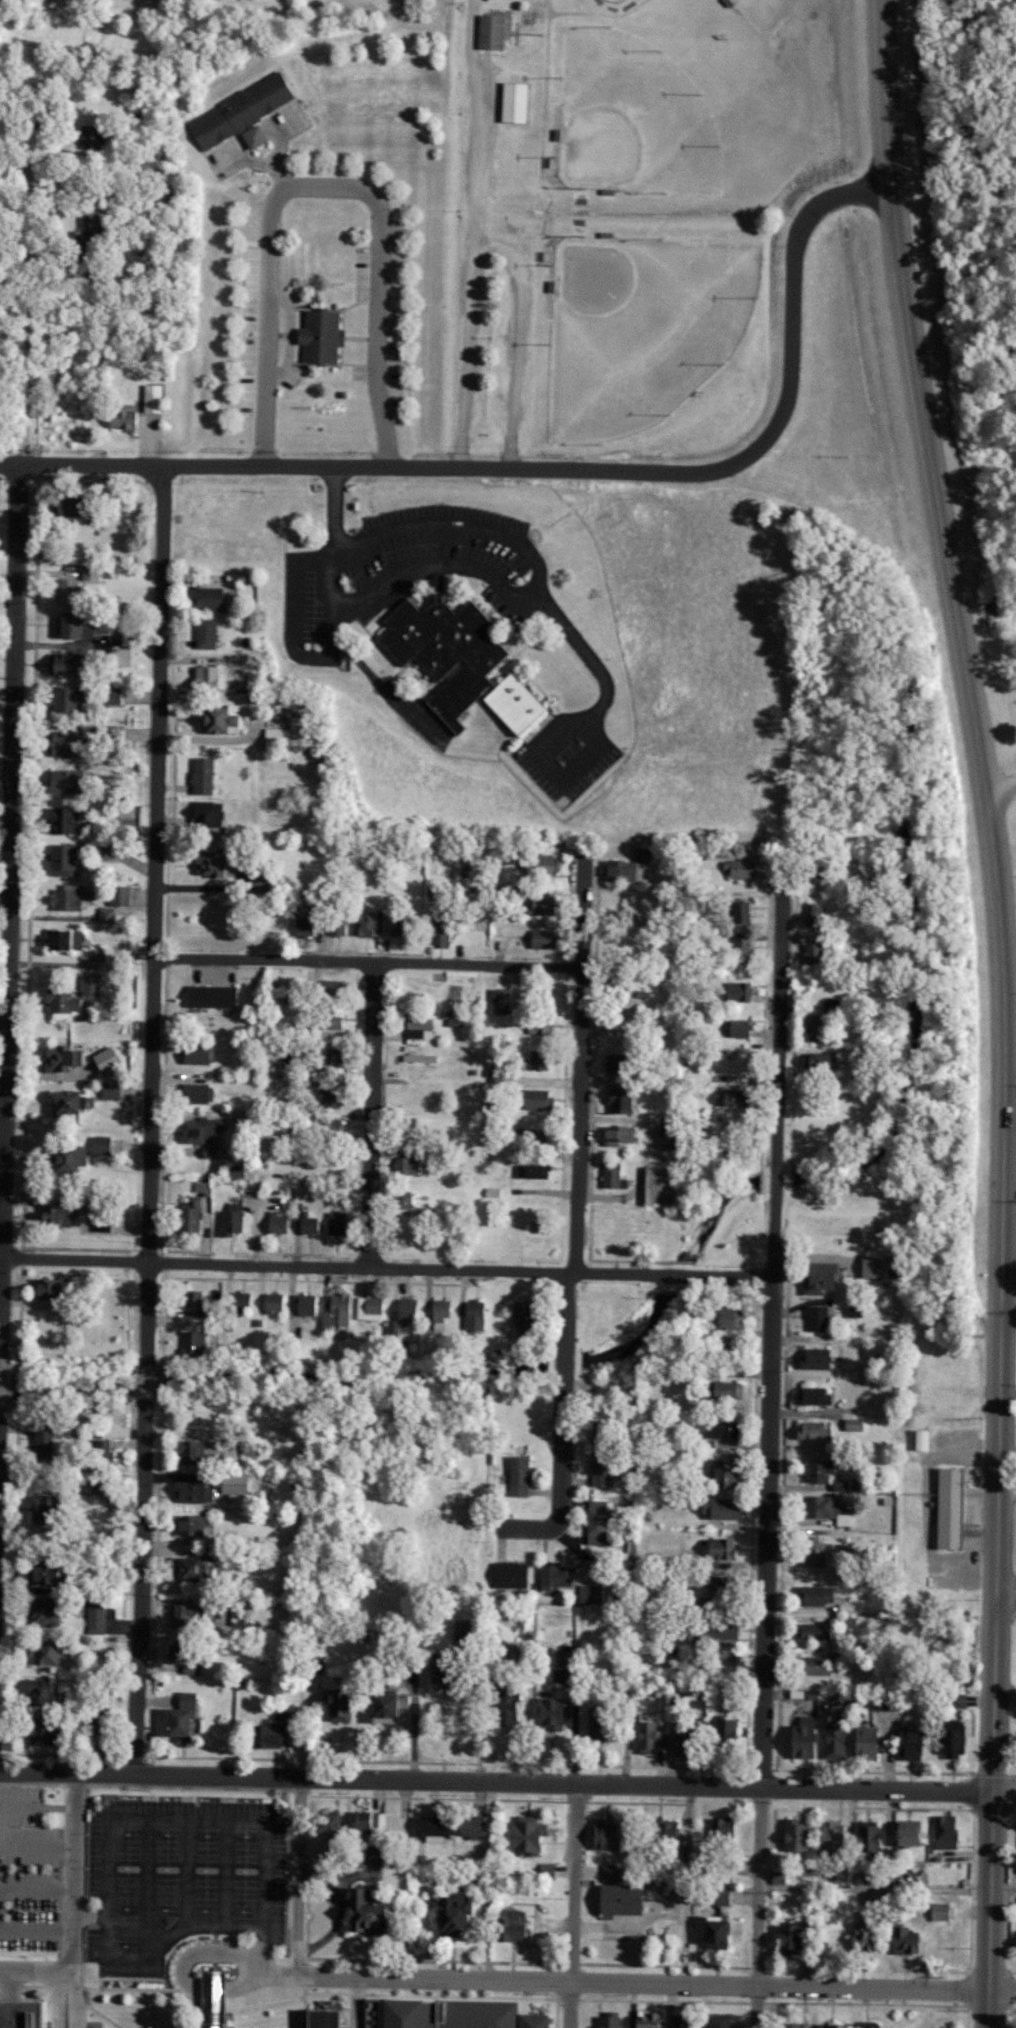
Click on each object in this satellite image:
parking lot: (504, 1)
park: (612, 2)
road: (592, 9)
park: (763, 12)
road: (526, 27)
building: (489, 32)
building: (511, 102)
building: (243, 114)
park: (629, 118)
road: (539, 132)
building: (96, 135)
road: (324, 186)
park: (610, 210)
building: (93, 221)
road: (546, 231)
road: (473, 234)
parking lot: (467, 256)
park: (641, 322)
road: (516, 334)
building: (327, 336)
parking lot: (514, 354)
road: (23, 398)
building: (154, 398)
building: (125, 420)
road: (550, 471)
building: (84, 504)
building: (93, 574)
building: (70, 590)
road: (541, 596)
building: (217, 598)
building: (80, 624)
building: (209, 633)
building: (116, 639)
building: (452, 652)
building: (70, 664)
building: (214, 677)
building: (115, 695)
building: (73, 698)
building: (522, 704)
building: (231, 718)
building: (295, 733)
building: (67, 742)
road: (6, 769)
building: (206, 775)
building: (70, 782)
road: (1001, 789)
building: (211, 814)
building: (63, 820)
building: (107, 852)
building: (69, 860)
road: (11, 861)
building: (213, 863)
building: (549, 865)
building: (627, 869)
building: (739, 869)
building: (267, 884)
building: (123, 895)
building: (70, 897)
building: (546, 905)
building: (738, 912)
building: (109, 914)
building: (811, 915)
building: (441, 917)
road: (558, 917)
building: (366, 924)
building: (310, 925)
building: (339, 927)
building: (404, 927)
building: (67, 939)
building: (546, 939)
building: (739, 951)
building: (811, 952)
road: (355, 961)
building: (93, 985)
building: (621, 985)
building: (736, 991)
building: (216, 996)
building: (66, 1001)
building: (503, 1001)
building: (833, 1006)
road: (1008, 1009)
building: (335, 1020)
building: (617, 1020)
building: (423, 1024)
building: (541, 1024)
building: (736, 1028)
building: (813, 1028)
building: (200, 1054)
building: (336, 1054)
building: (65, 1058)
building: (110, 1059)
building: (540, 1059)
building: (818, 1061)
building: (620, 1067)
building: (497, 1078)
building: (114, 1090)
building: (198, 1093)
building: (332, 1097)
building: (730, 1098)
building: (540, 1099)
building: (625, 1100)
building: (72, 1103)
road: (1011, 1104)
road: (368, 1114)
road: (149, 1116)
building: (204, 1129)
building: (623, 1135)
building: (669, 1136)
building: (103, 1145)
building: (214, 1152)
building: (77, 1159)
building: (410, 1165)
building: (535, 1171)
building: (239, 1172)
building: (612, 1176)
building: (663, 1186)
building: (202, 1188)
building: (404, 1199)
building: (63, 1215)
building: (196, 1217)
building: (105, 1221)
building: (308, 1221)
building: (279, 1222)
building: (338, 1223)
road: (573, 1263)
road: (386, 1266)
building: (871, 1266)
building: (815, 1276)
building: (55, 1289)
road: (1009, 1296)
building: (243, 1300)
building: (276, 1303)
building: (308, 1305)
building: (373, 1307)
building: (443, 1310)
building: (337, 1311)
building: (478, 1315)
building: (815, 1317)
building: (722, 1318)
building: (528, 1321)
building: (195, 1346)
building: (812, 1358)
building: (722, 1390)
building: (810, 1395)
building: (853, 1424)
building: (605, 1427)
building: (718, 1427)
building: (811, 1430)
building: (919, 1439)
building: (46, 1444)
building: (257, 1449)
building: (195, 1452)
road: (769, 1453)
building: (599, 1469)
building: (816, 1469)
building: (719, 1472)
building: (516, 1475)
building: (104, 1484)
building: (239, 1484)
building: (196, 1492)
building: (717, 1507)
building: (946, 1507)
building: (824, 1509)
building: (52, 1510)
building: (596, 1522)
building: (193, 1525)
building: (718, 1548)
building: (812, 1553)
building: (198, 1569)
building: (60, 1574)
building: (508, 1574)
building: (553, 1575)
building: (712, 1582)
road: (1006, 1592)
building: (588, 1593)
building: (814, 1595)
building: (58, 1613)
building: (191, 1617)
building: (847, 1621)
building: (99, 1622)
building: (713, 1626)
building: (811, 1631)
building: (51, 1652)
building: (191, 1656)
building: (565, 1656)
building: (817, 1663)
building: (311, 1666)
building: (433, 1672)
building: (49, 1690)
building: (955, 1698)
building: (400, 1700)
building: (879, 1702)
building: (332, 1704)
building: (499, 1705)
building: (378, 1707)
building: (547, 1713)
building: (189, 1717)
building: (95, 1722)
building: (597, 1730)
building: (720, 1730)
building: (56, 1732)
building: (264, 1735)
building: (646, 1737)
building: (680, 1737)
building: (948, 1737)
building: (800, 1738)
building: (863, 1740)
building: (905, 1740)
building: (831, 1741)
road: (508, 1776)
building: (322, 1823)
building: (470, 1826)
building: (429, 1827)
building: (719, 1830)
building: (661, 1831)
building: (942, 1832)
building: (598, 1833)
building: (903, 1833)
building: (524, 1834)
building: (794, 1835)
building: (831, 1835)
building: (864, 1838)
building: (363, 1854)
road: (72, 1868)
parking lot: (182, 1869)
building: (544, 1871)
road: (295, 1874)
building: (776, 1877)
building: (842, 1877)
building: (713, 1895)
building: (615, 1900)
road: (572, 1902)
building: (358, 1910)
building: (939, 1911)
building: (447, 1912)
building: (505, 1924)
building: (710, 1932)
building: (858, 1936)
building: (784, 1938)
building: (900, 1940)
building: (1015, 1943)
road: (190, 1953)
road: (34, 1968)
road: (258, 1976)
road: (654, 1981)
building: (208, 2002)
building: (438, 2013)
building: (21, 2014)
building: (317, 2018)
building: (643, 2019)
building: (605, 2020)
building: (717, 2020)
building: (677, 2021)
building: (794, 2025)
building: (823, 2025)
building: (862, 2025)

